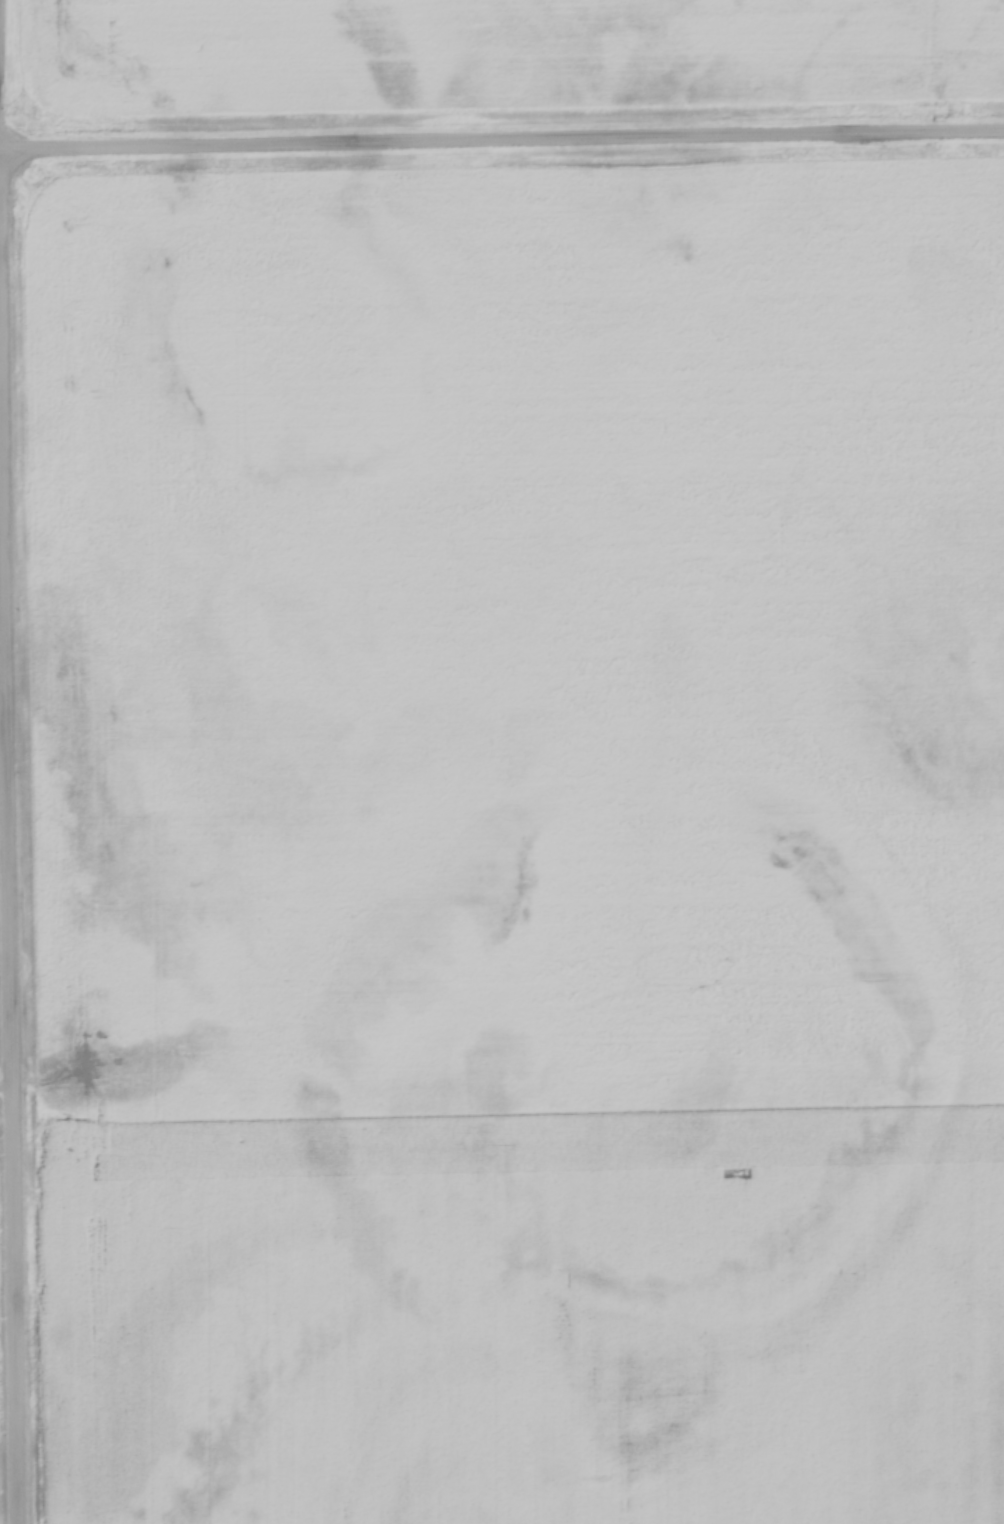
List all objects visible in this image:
road: (502, 141)
road: (2, 944)

